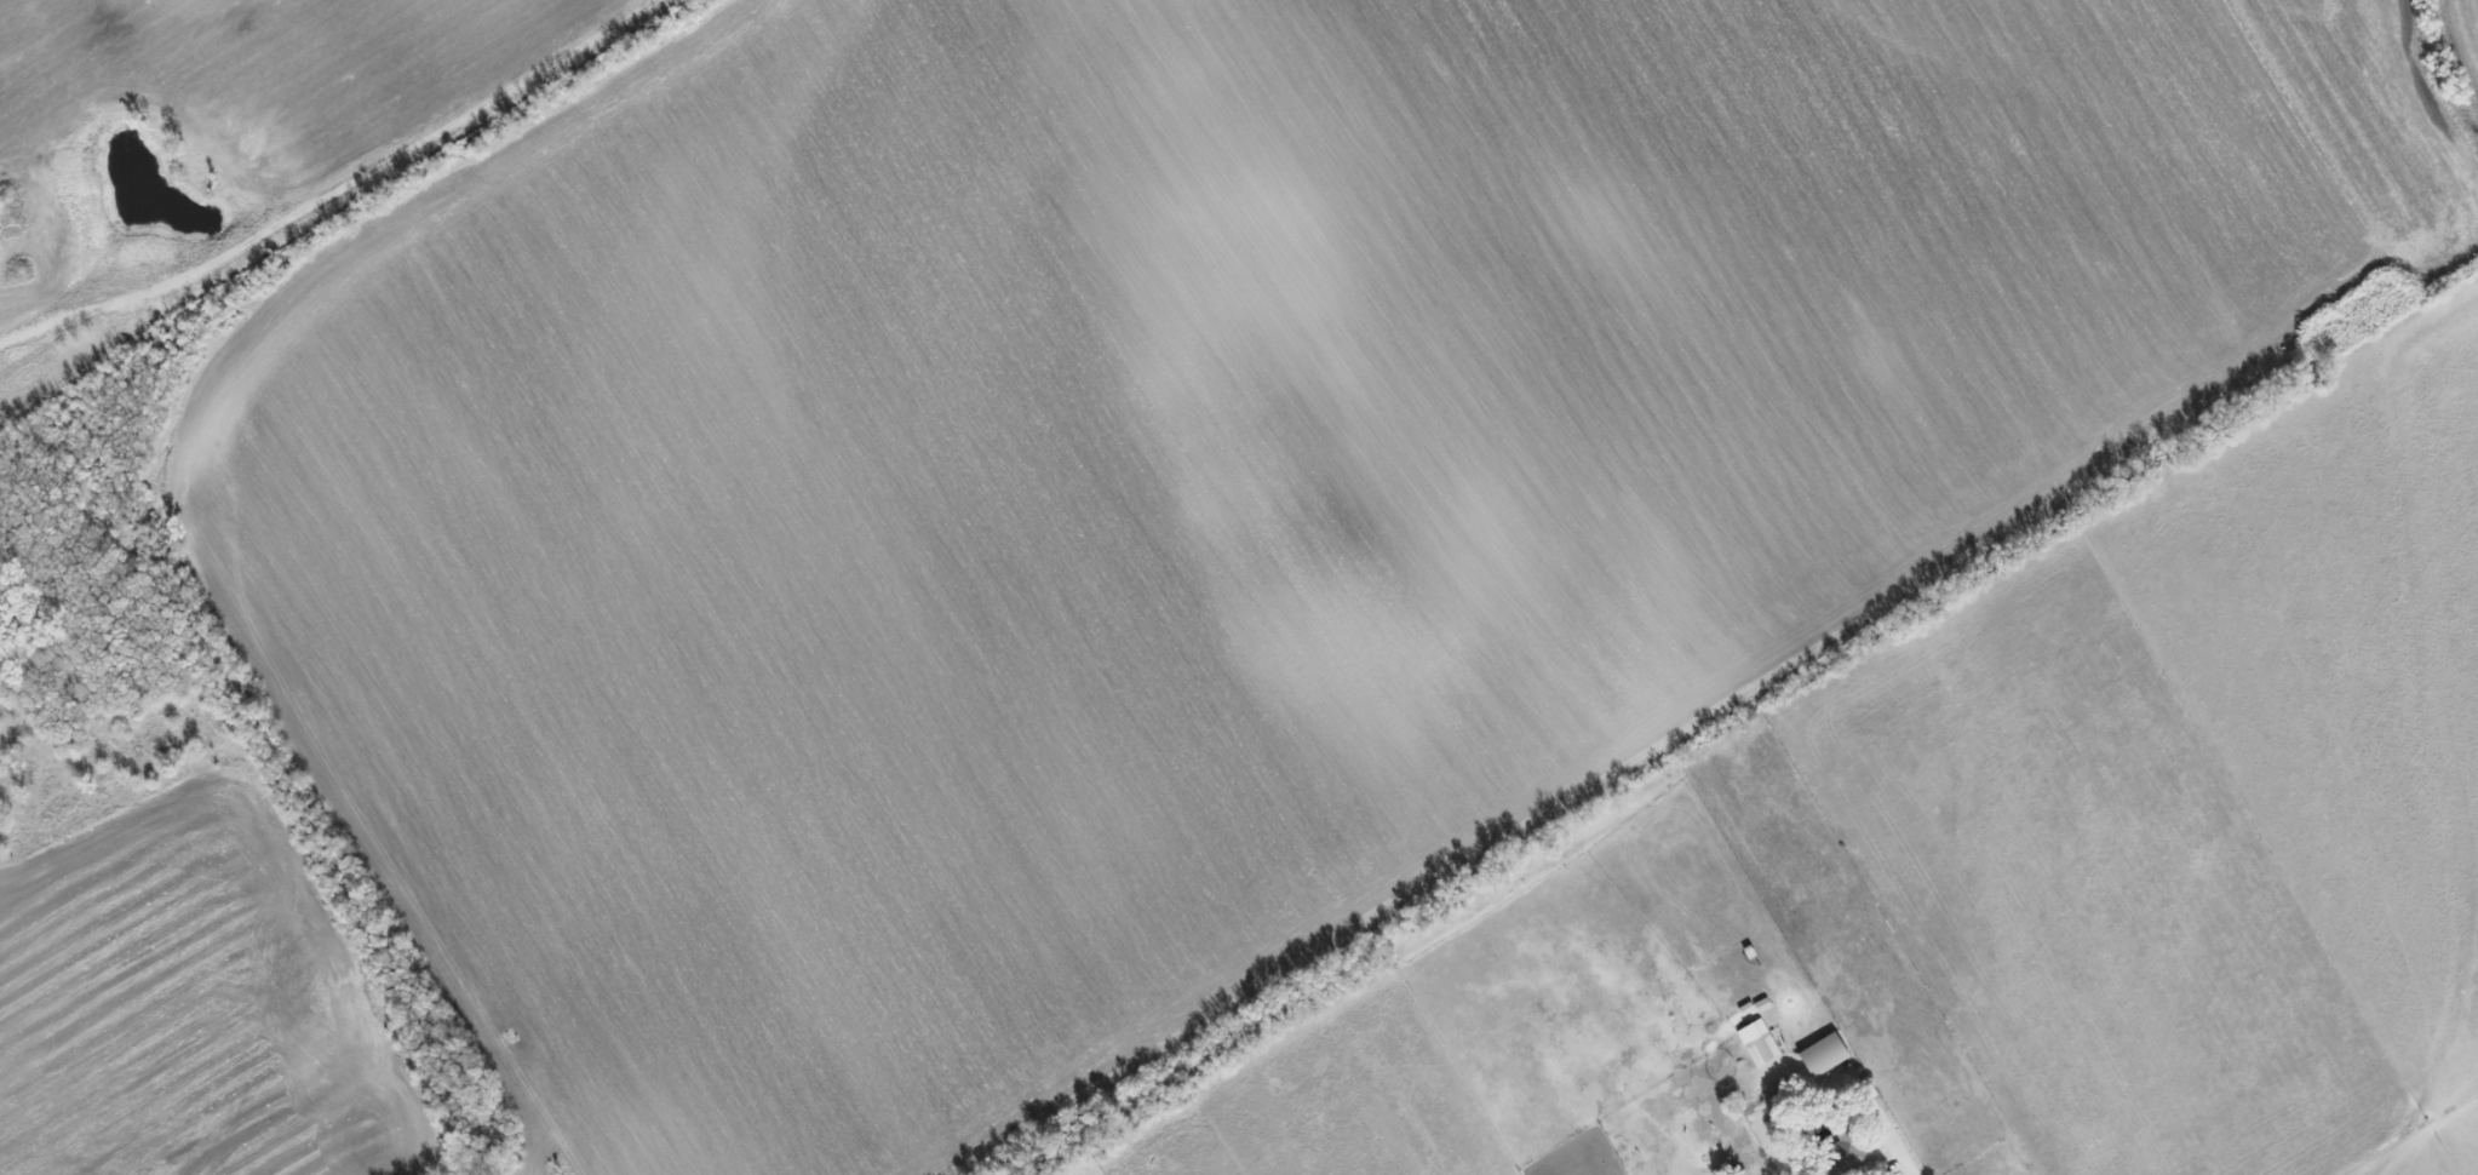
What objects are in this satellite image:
crop: (148, 75)
road: (303, 205)
building: (1755, 1042)
building: (1819, 1054)

